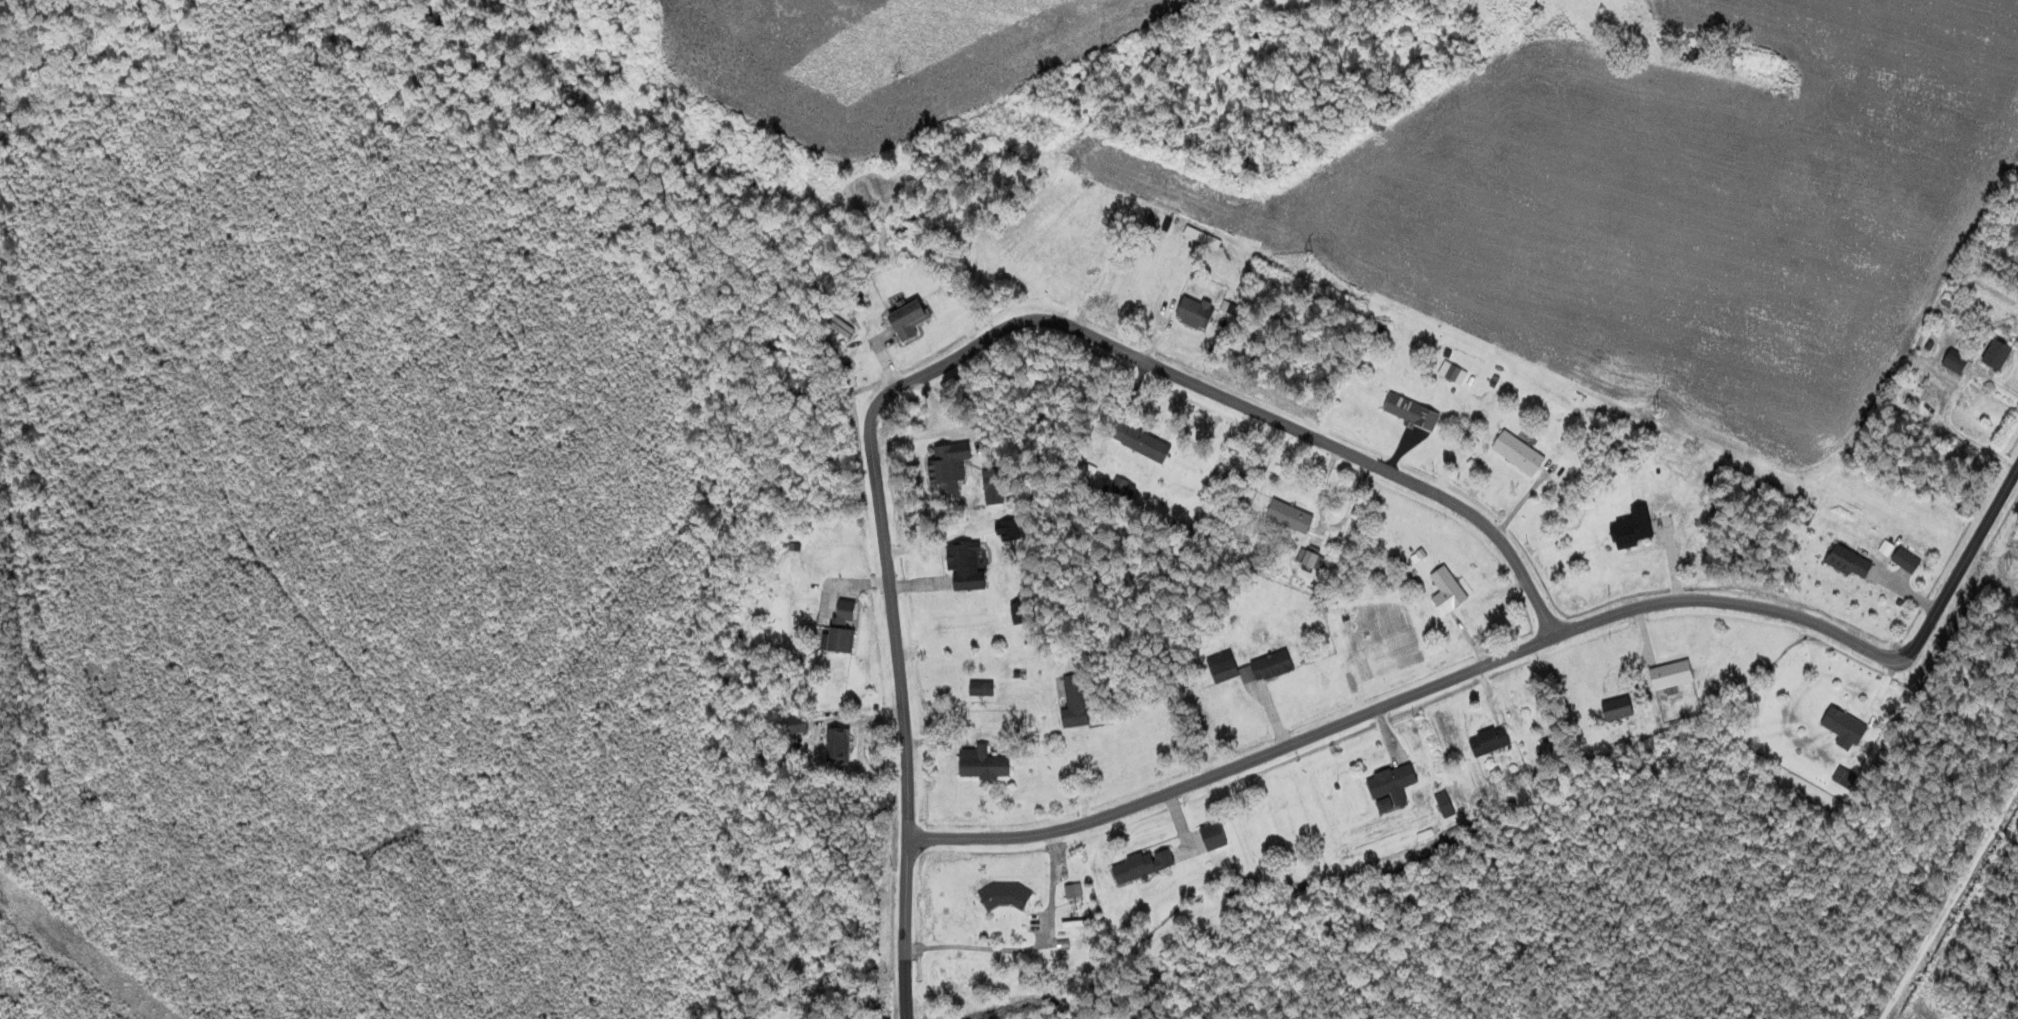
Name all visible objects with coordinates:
power tower: (900, 76)
power tower: (1310, 257)
building: (1196, 313)
building: (909, 320)
building: (1997, 355)
building: (1956, 362)
road: (1242, 406)
power tower: (1657, 410)
building: (1411, 413)
building: (1140, 442)
building: (1518, 454)
building: (949, 468)
building: (992, 479)
building: (1290, 517)
building: (1633, 528)
building: (1885, 547)
road: (1964, 557)
building: (1906, 561)
building: (1850, 563)
power tower: (2009, 566)
building: (965, 567)
building: (1447, 592)
building: (1020, 613)
road: (889, 626)
building: (842, 629)
building: (1249, 668)
building: (1671, 674)
building: (981, 689)
road: (1415, 696)
building: (1075, 702)
building: (1618, 708)
building: (797, 725)
building: (1844, 728)
building: (1489, 741)
building: (839, 745)
building: (983, 763)
building: (1843, 777)
building: (1391, 787)
building: (1143, 865)
building: (1005, 896)
road: (909, 920)
building: (785, 995)
road: (908, 1011)

